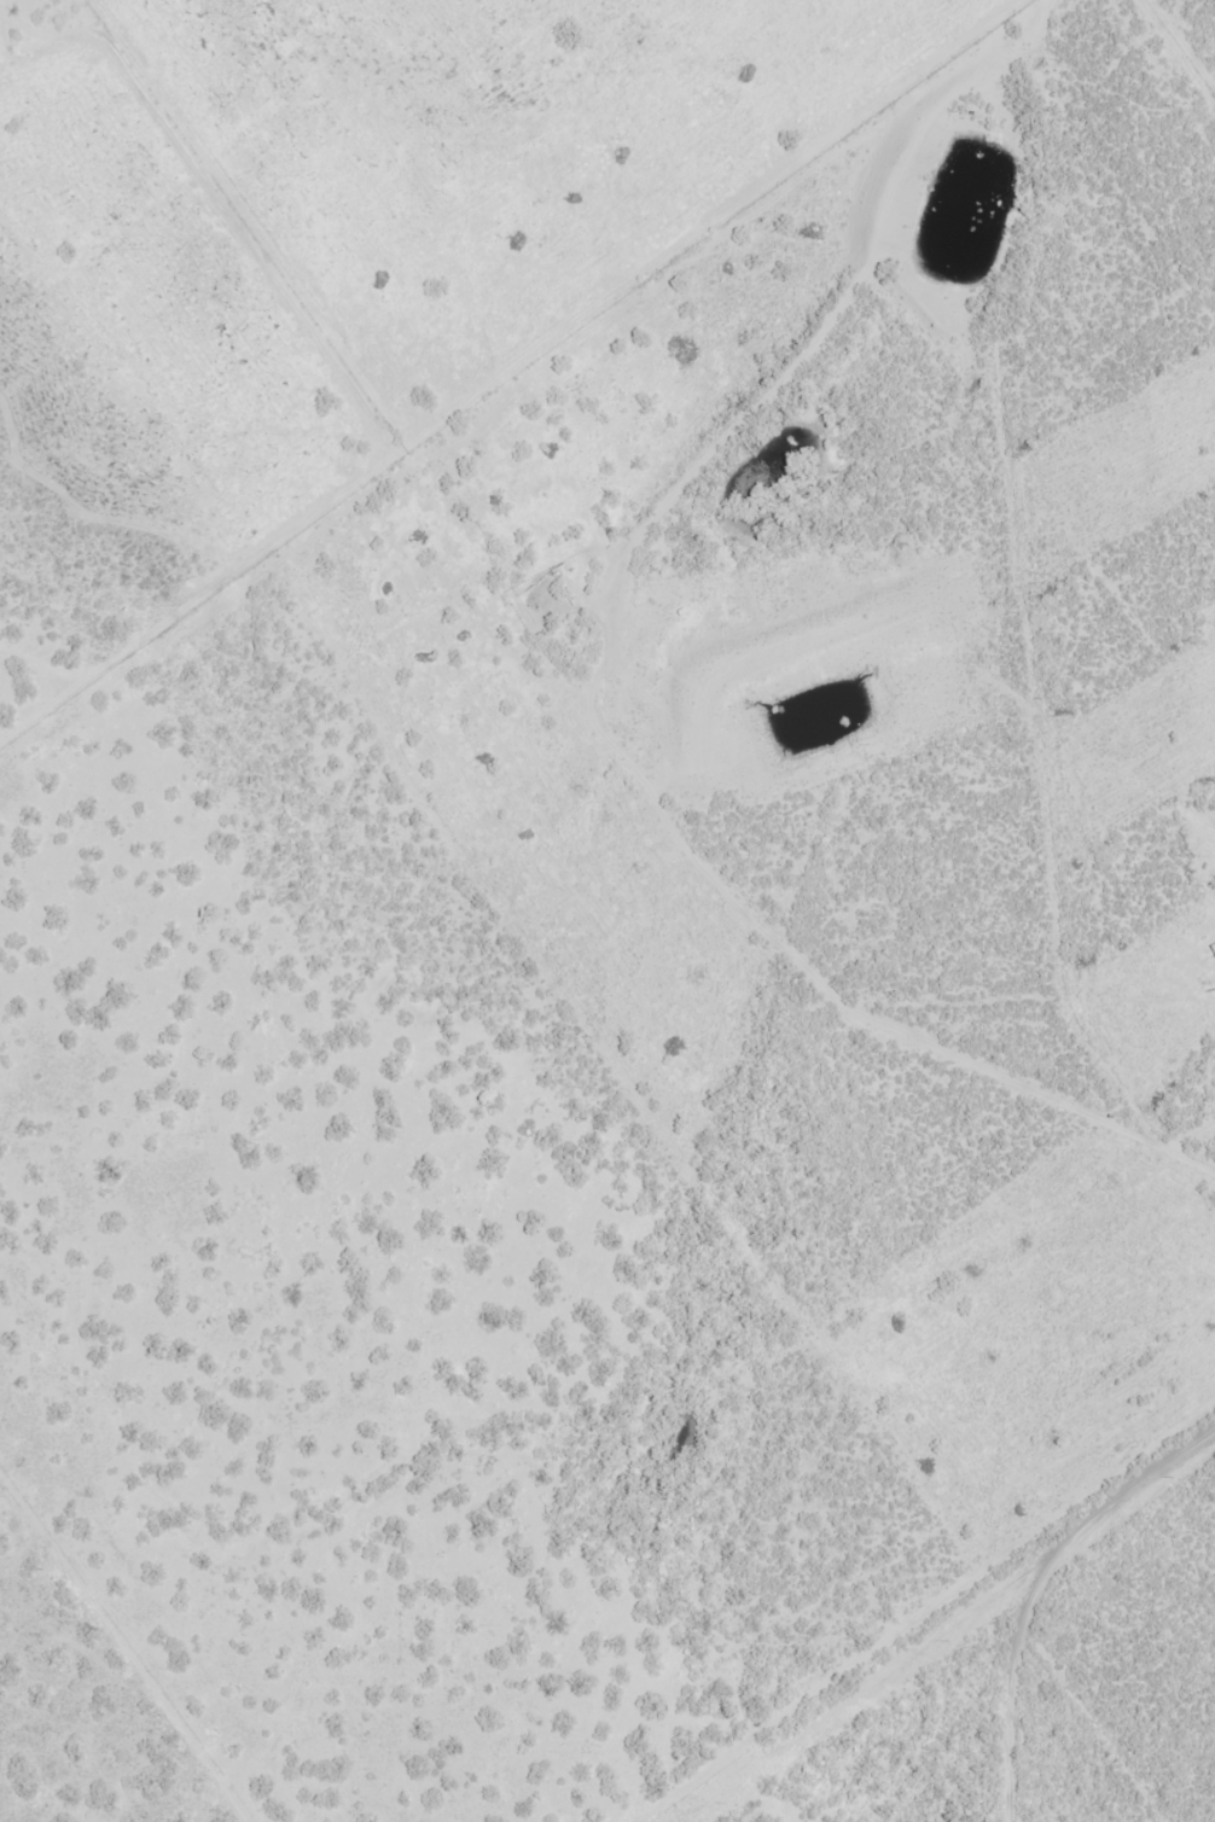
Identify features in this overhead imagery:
road: (858, 984)
road: (1143, 1692)

